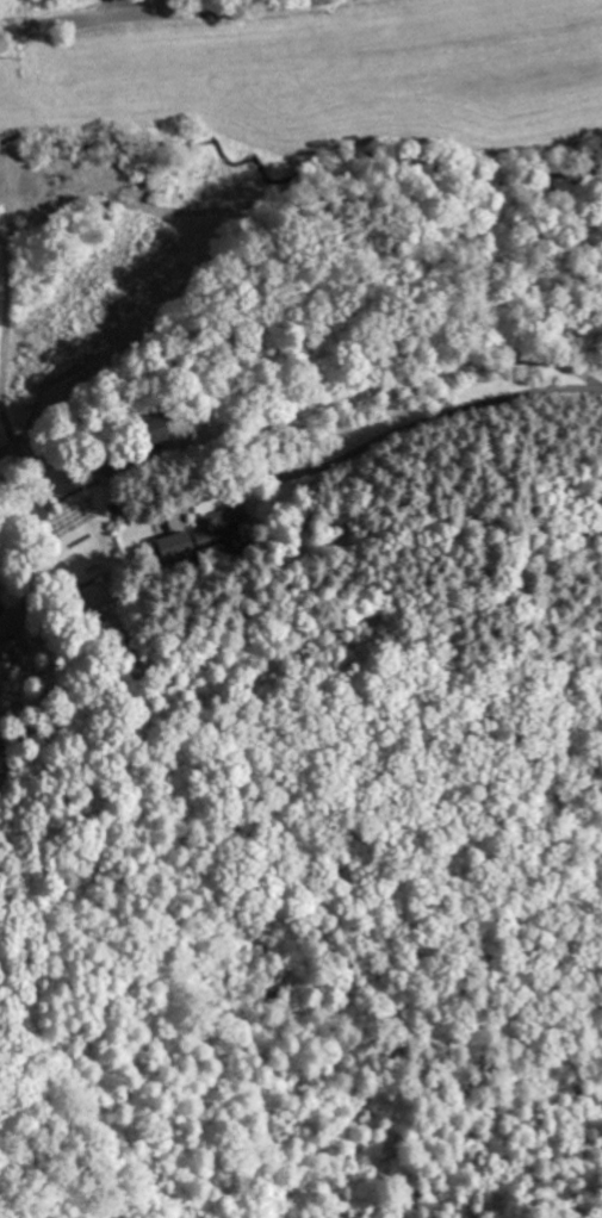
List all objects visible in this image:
road: (132, 7)
road: (228, 7)
road: (69, 20)
road: (448, 412)
building: (156, 429)
building: (222, 530)
building: (174, 543)

